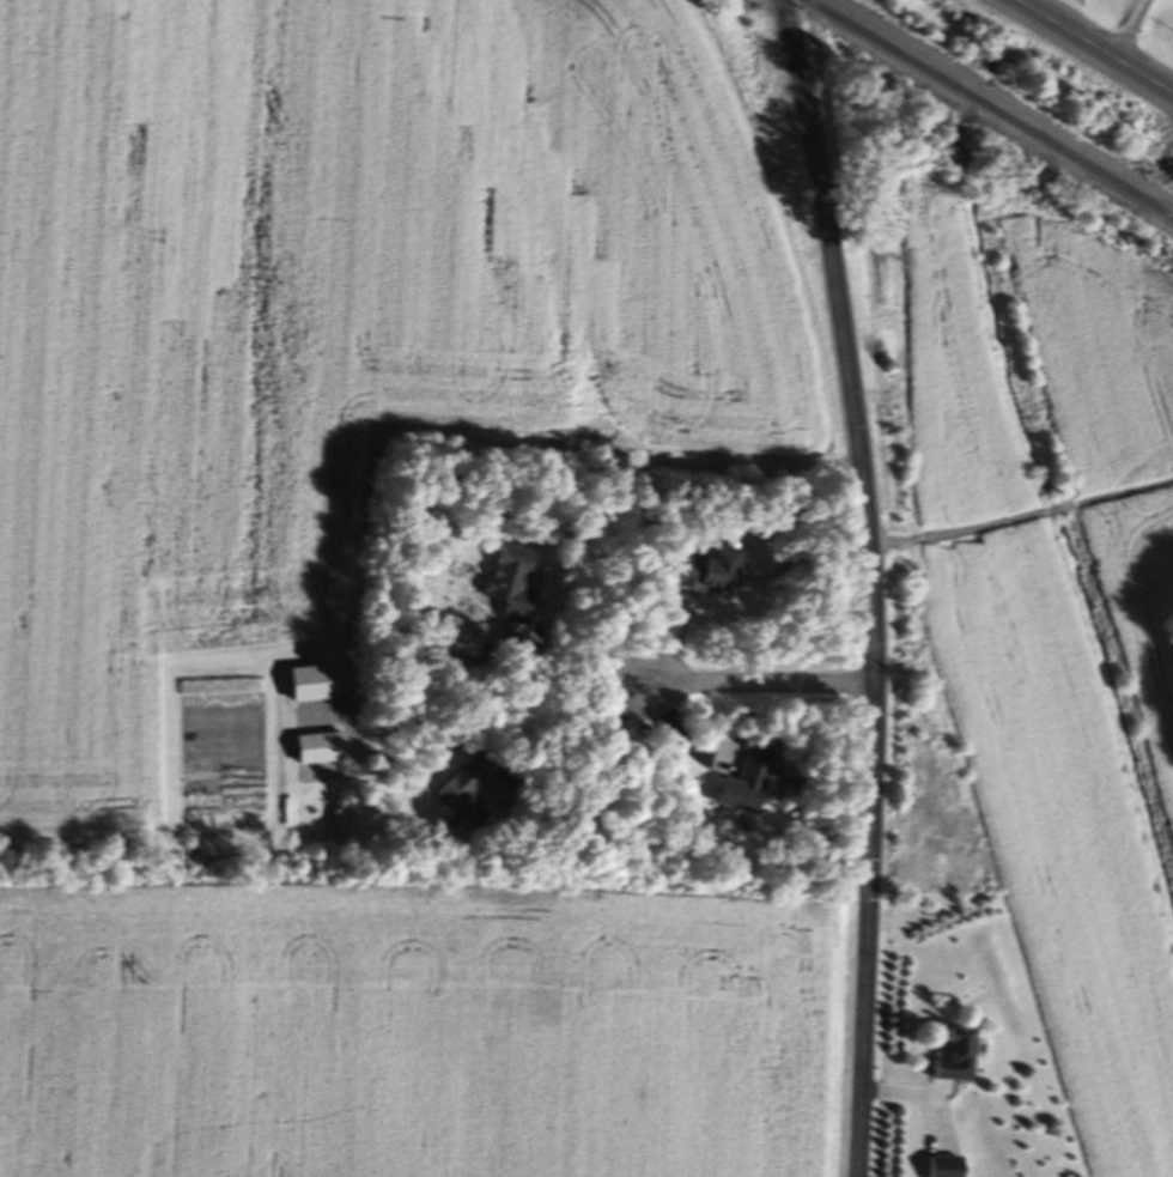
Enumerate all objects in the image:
road: (1134, 30)
road: (1093, 47)
railway: (987, 109)
road: (461, 437)
building: (710, 575)
building: (515, 581)
road: (871, 584)
road: (578, 669)
road: (762, 685)
building: (323, 751)
building: (747, 791)
building: (470, 795)
building: (961, 1060)

